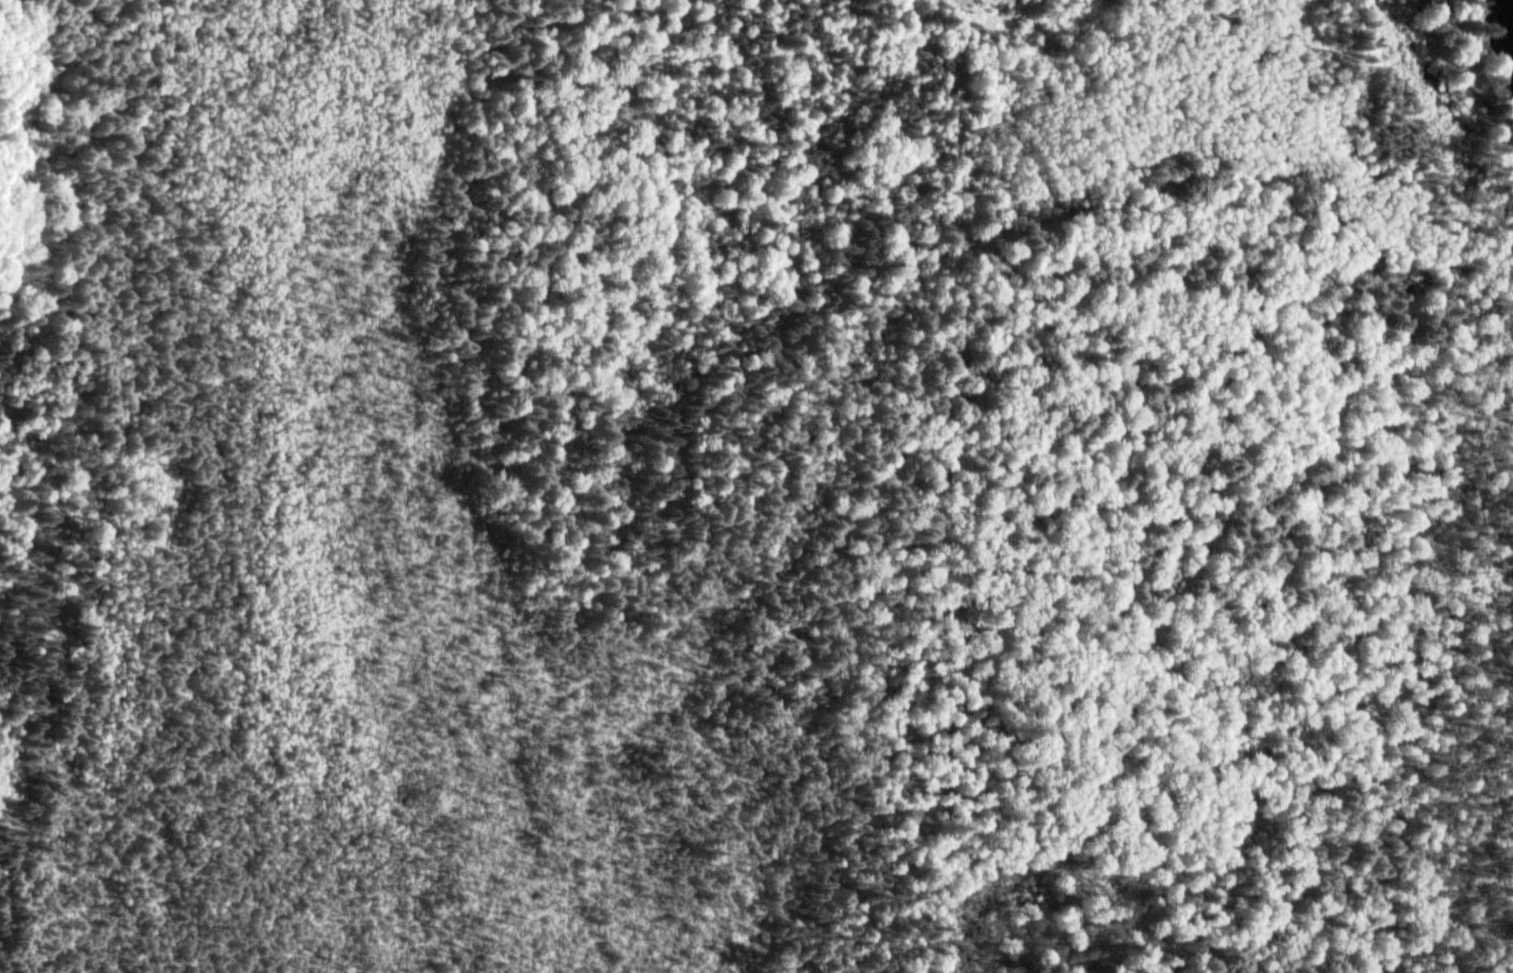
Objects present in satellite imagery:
river: (1500, 42)

